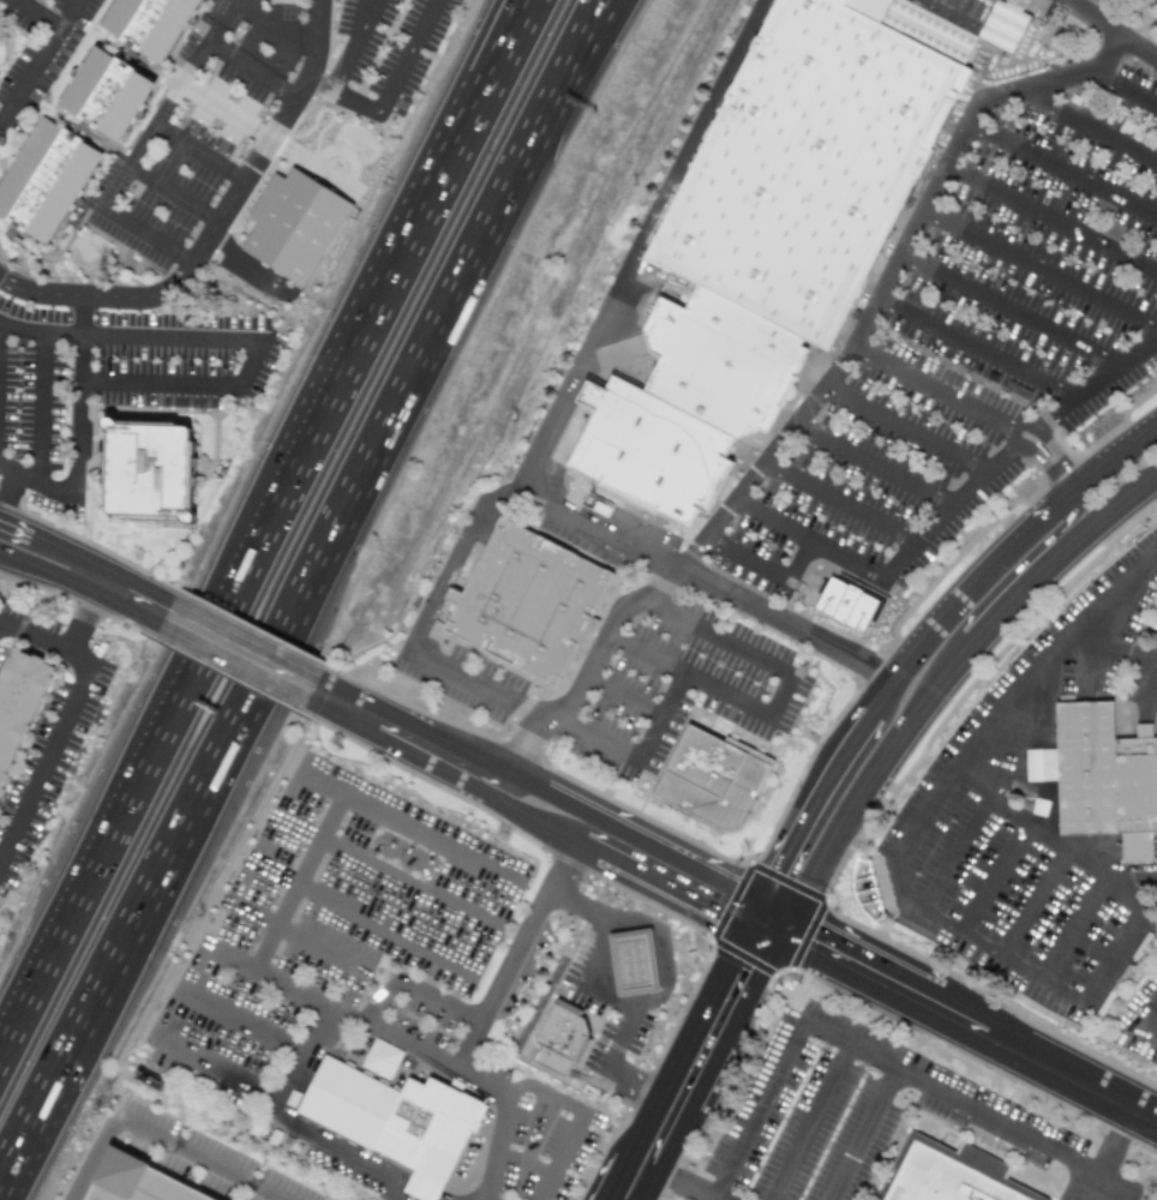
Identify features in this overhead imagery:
road: (37, 14)
building: (158, 23)
road: (277, 29)
road: (1115, 29)
road: (209, 38)
road: (566, 43)
road: (572, 43)
road: (350, 44)
road: (407, 56)
road: (40, 59)
road: (253, 70)
road: (1122, 84)
building: (119, 94)
road: (343, 96)
road: (206, 100)
road: (227, 108)
road: (236, 119)
road: (155, 122)
road: (1089, 122)
road: (199, 154)
building: (819, 166)
road: (1062, 172)
road: (443, 173)
road: (457, 173)
building: (52, 180)
road: (116, 188)
road: (174, 196)
road: (1050, 222)
building: (294, 224)
road: (216, 228)
road: (149, 236)
road: (637, 240)
road: (240, 269)
road: (1039, 270)
road: (889, 276)
road: (1009, 312)
road: (40, 330)
road: (172, 335)
road: (976, 348)
building: (731, 364)
road: (1096, 383)
road: (184, 386)
road: (931, 386)
road: (38, 407)
road: (337, 409)
road: (909, 427)
road: (76, 430)
road: (1049, 436)
building: (663, 452)
road: (1031, 455)
road: (1098, 455)
road: (1005, 458)
road: (871, 468)
building: (169, 469)
road: (8, 493)
road: (840, 502)
road: (936, 522)
road: (1075, 526)
road: (14, 530)
road: (1104, 535)
road: (808, 538)
road: (62, 550)
road: (452, 557)
road: (44, 570)
road: (765, 571)
road: (299, 578)
road: (701, 578)
road: (958, 582)
road: (127, 595)
building: (539, 604)
building: (861, 606)
road: (89, 612)
road: (1020, 613)
road: (1115, 646)
road: (735, 647)
road: (239, 653)
road: (591, 665)
road: (1152, 673)
road: (689, 676)
road: (476, 686)
road: (871, 690)
road: (624, 692)
road: (322, 696)
road: (1152, 697)
building: (25, 715)
road: (346, 715)
road: (659, 715)
road: (65, 721)
road: (925, 724)
road: (424, 728)
road: (592, 734)
road: (434, 754)
road: (963, 754)
road: (1043, 767)
building: (712, 772)
road: (152, 775)
building: (1114, 779)
road: (1015, 780)
road: (323, 781)
road: (971, 781)
road: (464, 786)
road: (344, 793)
road: (805, 802)
road: (1008, 811)
road: (858, 826)
road: (635, 832)
road: (299, 834)
road: (583, 848)
road: (954, 853)
traffic signals: (773, 864)
road: (1089, 866)
road: (993, 880)
road: (408, 884)
road: (667, 892)
road: (821, 892)
road: (1030, 904)
road: (748, 912)
road: (362, 916)
traffic signals: (712, 916)
road: (250, 918)
road: (774, 918)
road: (768, 930)
road: (1072, 931)
traffic signals: (816, 947)
road: (661, 953)
road: (515, 955)
building: (633, 961)
road: (1103, 967)
road: (578, 976)
traffic signals: (765, 983)
road: (299, 989)
road: (402, 989)
road: (1139, 1022)
road: (976, 1028)
road: (524, 1031)
building: (562, 1037)
road: (410, 1045)
road: (862, 1049)
road: (672, 1061)
road: (723, 1066)
road: (218, 1070)
road: (634, 1082)
road: (281, 1097)
road: (566, 1104)
building: (398, 1108)
road: (25, 1120)
road: (808, 1121)
road: (863, 1133)
road: (500, 1144)
road: (1109, 1154)
road: (202, 1157)
parking lot: (204, 1159)
road: (95, 1163)
road: (606, 1169)
building: (943, 1177)
building: (140, 1182)
road: (690, 1188)

